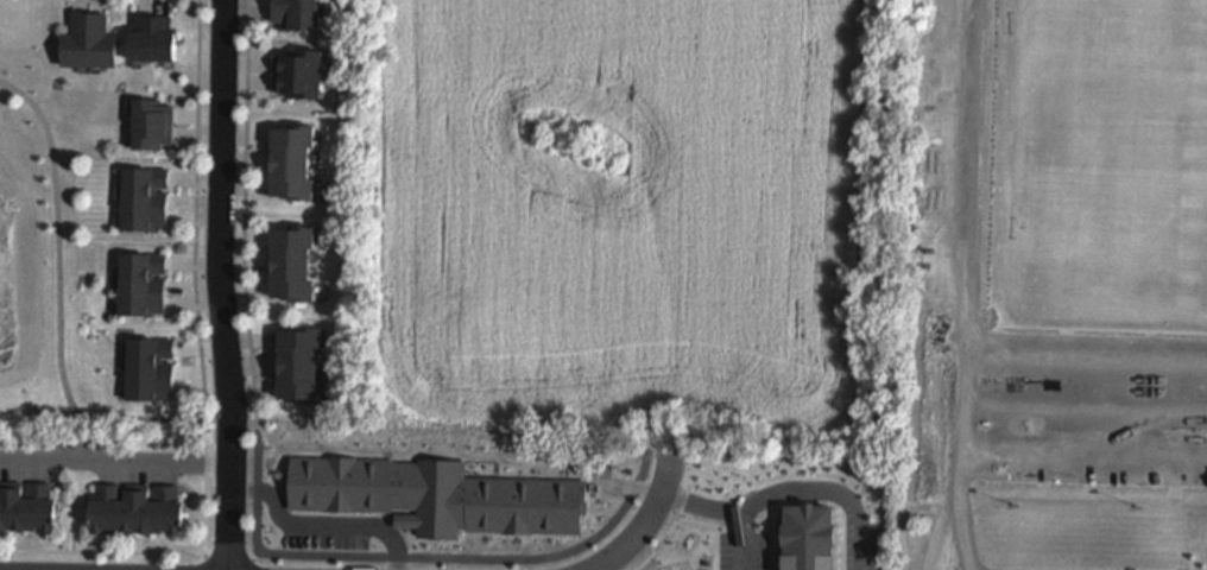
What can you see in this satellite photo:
building: (296, 13)
building: (87, 39)
building: (153, 39)
park: (1113, 62)
building: (297, 71)
building: (152, 122)
building: (292, 163)
building: (144, 198)
crop: (625, 221)
park: (1111, 230)
park: (53, 253)
building: (292, 264)
building: (143, 283)
road: (220, 285)
park: (1047, 285)
road: (969, 296)
road: (58, 325)
building: (299, 366)
building: (148, 367)
road: (201, 373)
road: (967, 380)
parking lot: (1080, 407)
road: (1087, 407)
road: (251, 425)
road: (1060, 458)
road: (115, 463)
road: (253, 480)
road: (789, 490)
building: (25, 506)
building: (137, 507)
road: (647, 522)
building: (808, 538)
road: (742, 539)
parking lot: (742, 552)
road: (200, 553)
road: (253, 557)
road: (227, 558)

